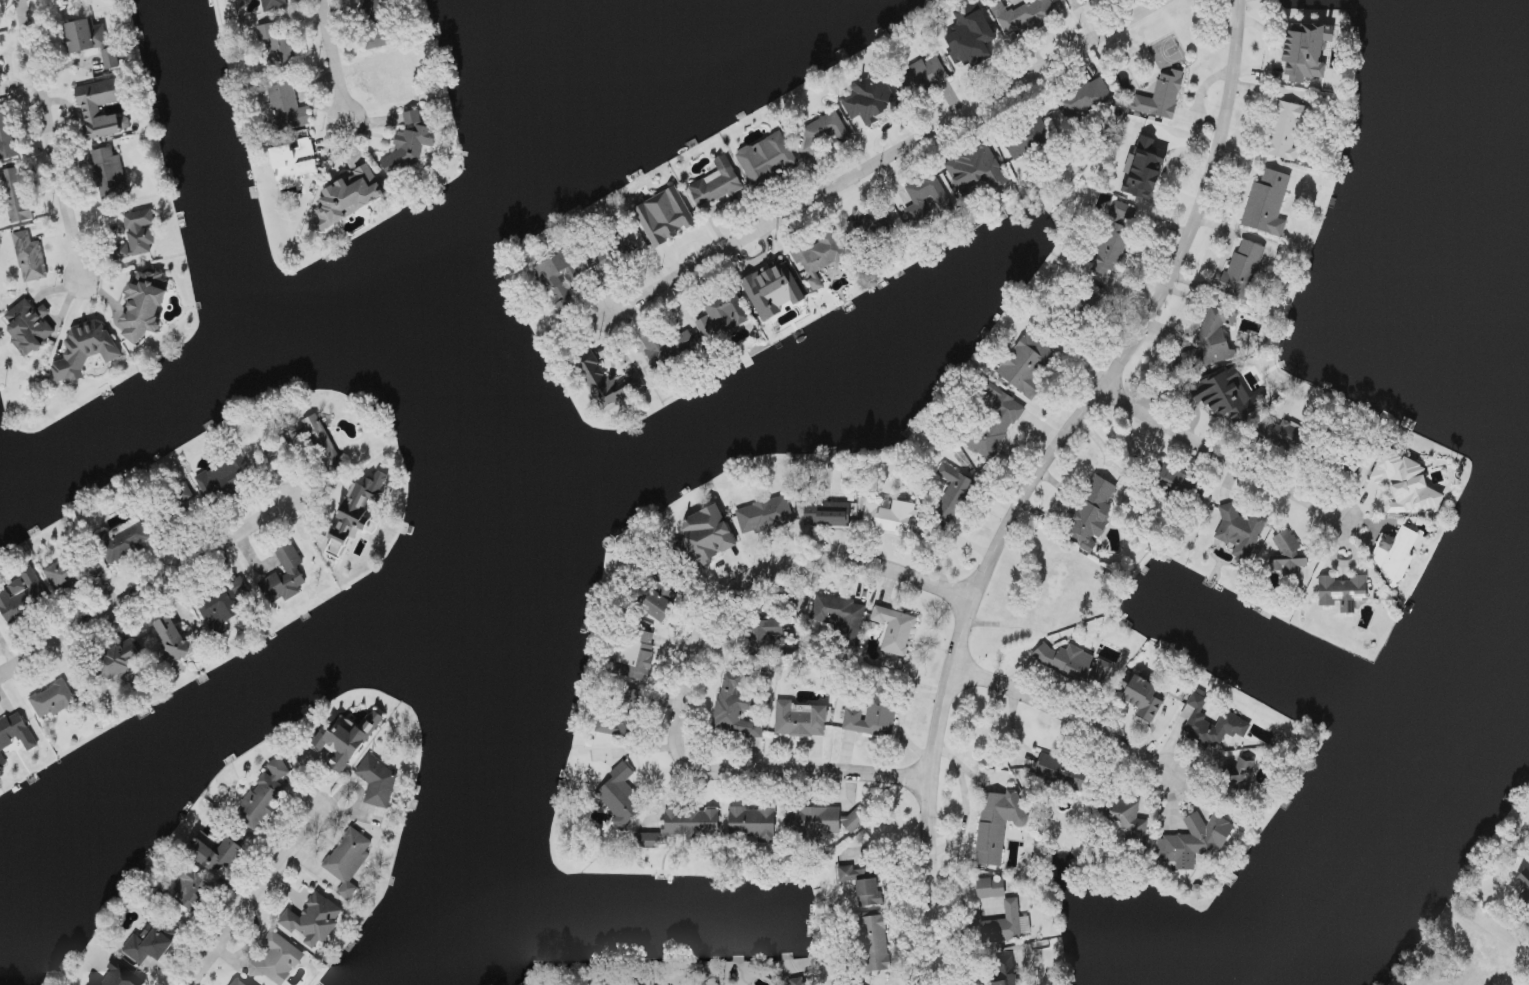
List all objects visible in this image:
building: (62, 0)
building: (273, 5)
building: (1025, 16)
building: (970, 35)
building: (85, 36)
building: (277, 46)
building: (1304, 53)
building: (111, 59)
road: (332, 63)
building: (928, 73)
building: (0, 77)
building: (399, 80)
building: (1161, 97)
building: (867, 98)
building: (1085, 99)
building: (286, 107)
building: (91, 109)
building: (824, 131)
building: (1285, 131)
building: (6, 136)
building: (1028, 141)
road: (50, 142)
building: (409, 146)
road: (887, 157)
building: (767, 159)
building: (294, 166)
building: (1147, 166)
building: (976, 169)
building: (110, 174)
building: (717, 184)
building: (16, 195)
building: (350, 197)
building: (926, 198)
building: (1267, 204)
building: (1123, 212)
building: (664, 216)
building: (874, 220)
building: (137, 235)
building: (624, 247)
building: (1111, 249)
building: (30, 257)
building: (818, 258)
building: (1243, 269)
building: (555, 280)
building: (772, 290)
building: (1094, 294)
building: (144, 305)
building: (722, 316)
building: (29, 327)
building: (1212, 339)
building: (668, 347)
building: (85, 351)
building: (1026, 363)
building: (609, 381)
building: (1226, 395)
building: (996, 424)
building: (1279, 434)
building: (323, 441)
road: (1219, 457)
road: (1035, 477)
building: (224, 480)
building: (1179, 482)
building: (1405, 484)
building: (953, 493)
building: (824, 513)
building: (1091, 513)
building: (355, 514)
building: (765, 515)
building: (889, 517)
building: (1240, 530)
building: (705, 538)
building: (123, 541)
building: (1395, 555)
building: (1287, 556)
building: (72, 574)
building: (286, 576)
road: (142, 589)
building: (1342, 592)
building: (26, 594)
building: (657, 604)
building: (225, 606)
building: (840, 618)
building: (895, 630)
building: (762, 635)
building: (173, 639)
building: (634, 656)
building: (120, 661)
building: (1074, 665)
road: (687, 668)
building: (1144, 697)
building: (54, 700)
building: (735, 708)
road: (1061, 713)
building: (871, 719)
building: (800, 721)
building: (1211, 724)
building: (613, 727)
building: (14, 735)
building: (348, 739)
building: (1238, 781)
building: (378, 782)
building: (264, 795)
building: (621, 797)
building: (1125, 819)
building: (820, 822)
building: (753, 823)
building: (997, 824)
building: (682, 827)
building: (1194, 841)
building: (214, 852)
building: (348, 860)
building: (1525, 884)
building: (861, 885)
building: (991, 888)
building: (187, 889)
road: (251, 897)
building: (313, 920)
building: (1003, 925)
building: (149, 944)
building: (873, 944)
building: (278, 960)
building: (1005, 972)
building: (122, 976)
building: (797, 981)
building: (237, 982)
building: (837, 983)
building: (93, 984)
building: (639, 984)

